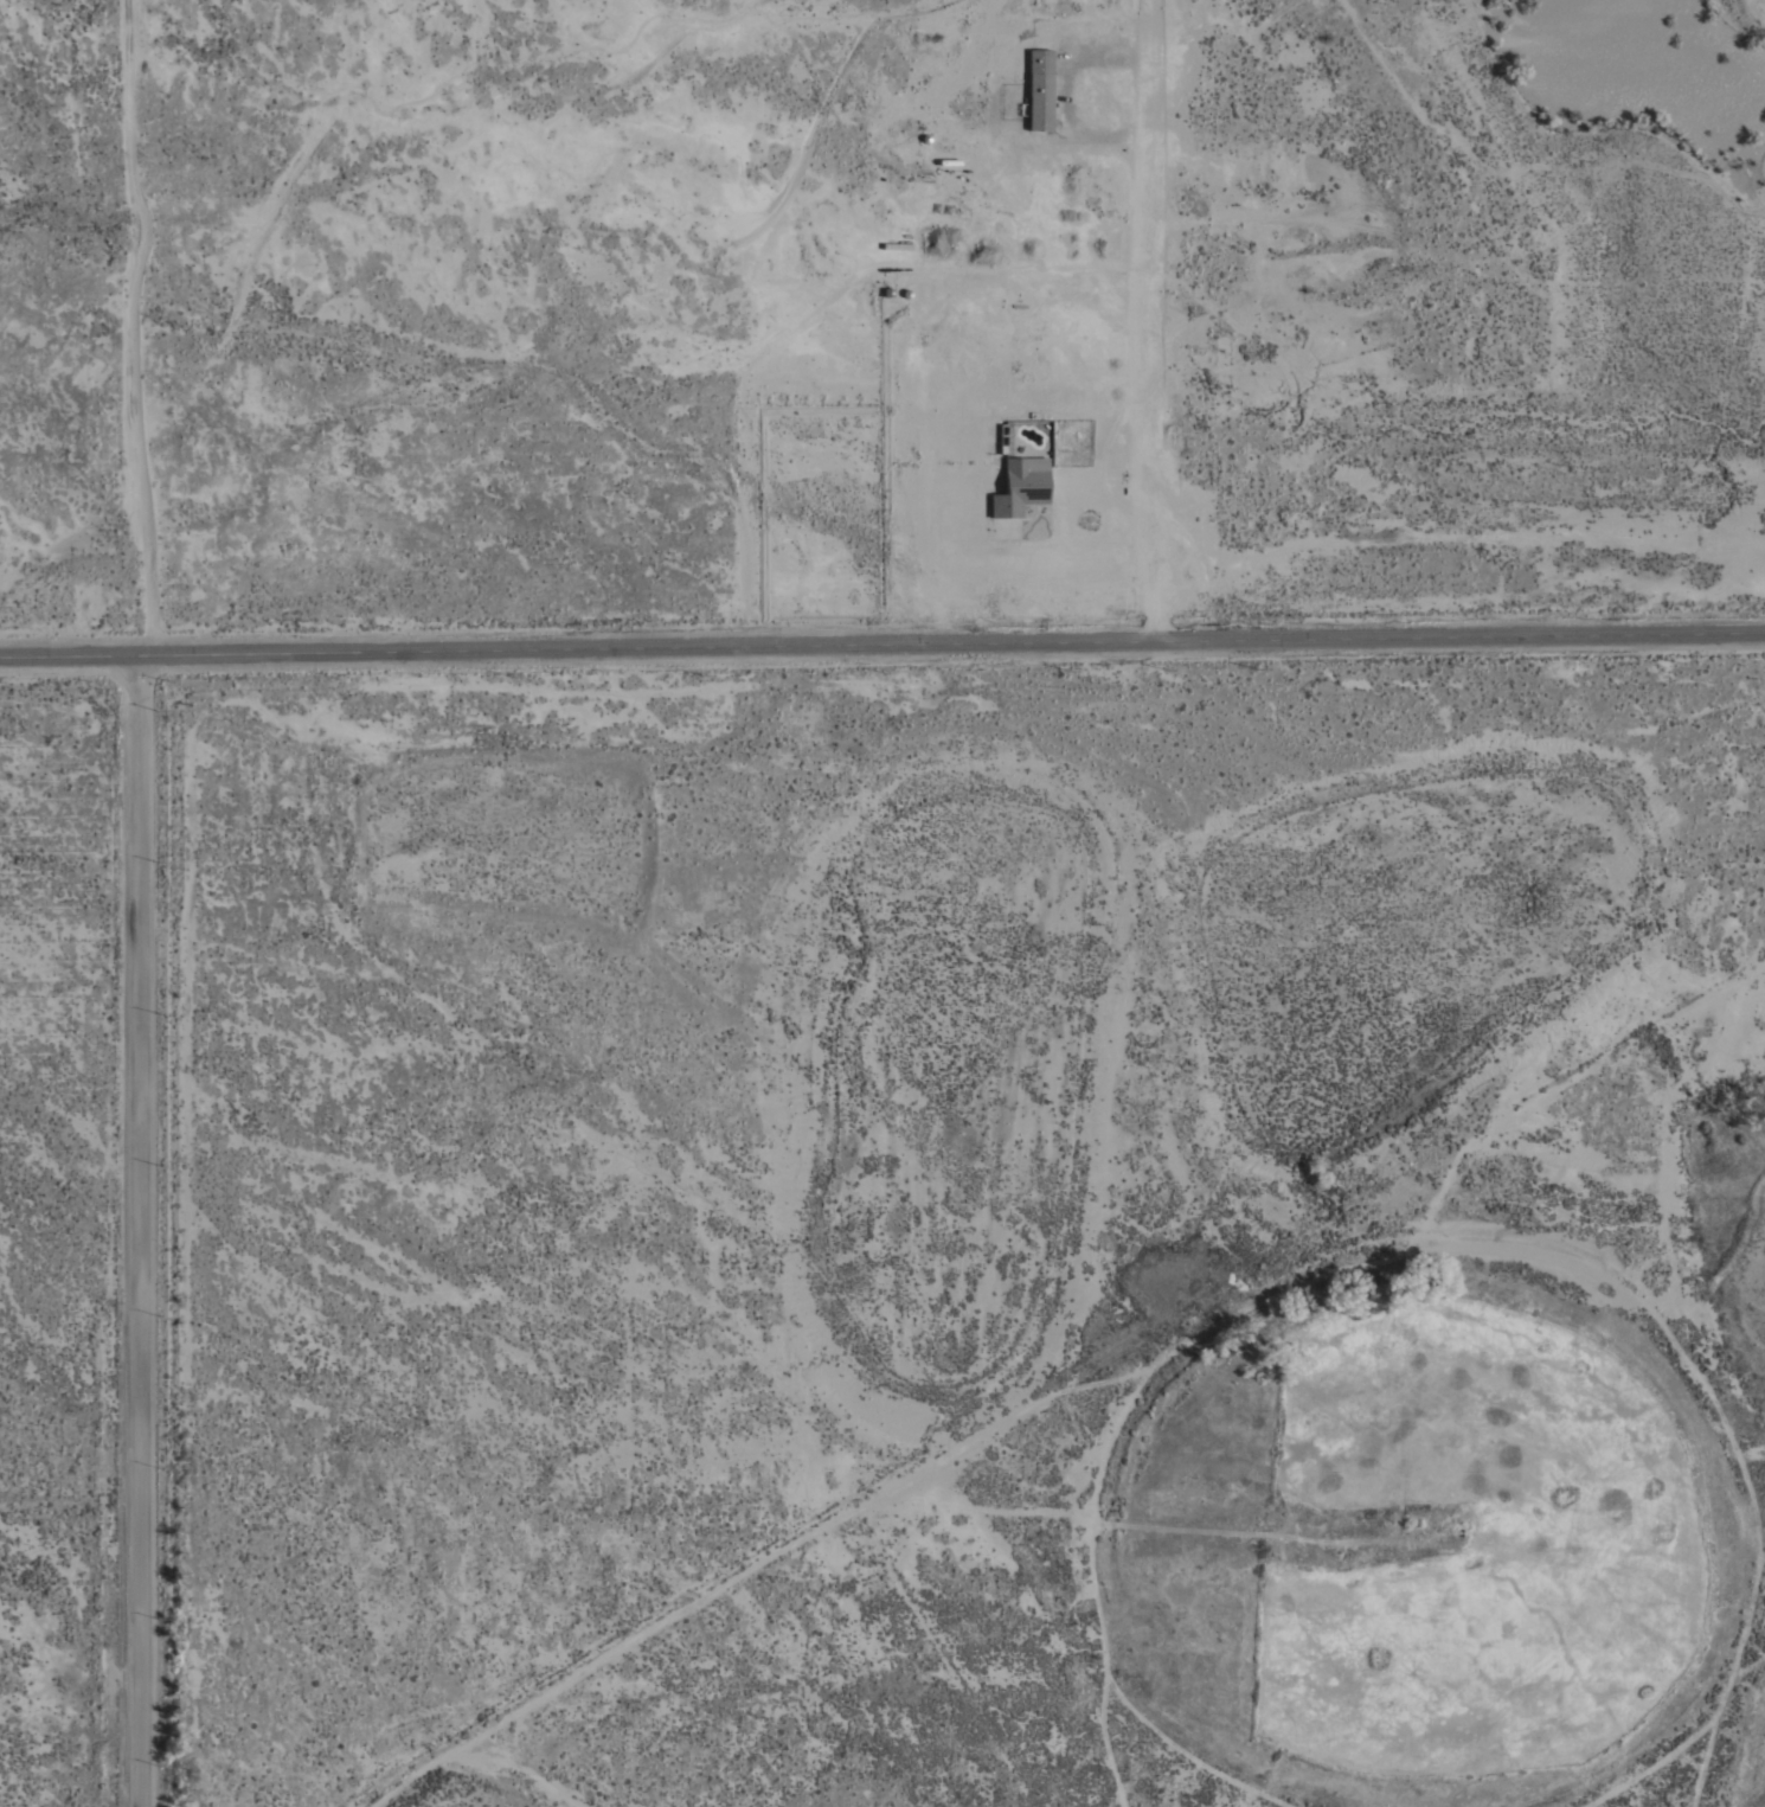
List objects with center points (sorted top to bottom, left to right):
building: (1040, 91)
road: (123, 320)
road: (1153, 342)
building: (1022, 488)
road: (881, 636)
road: (146, 1223)

